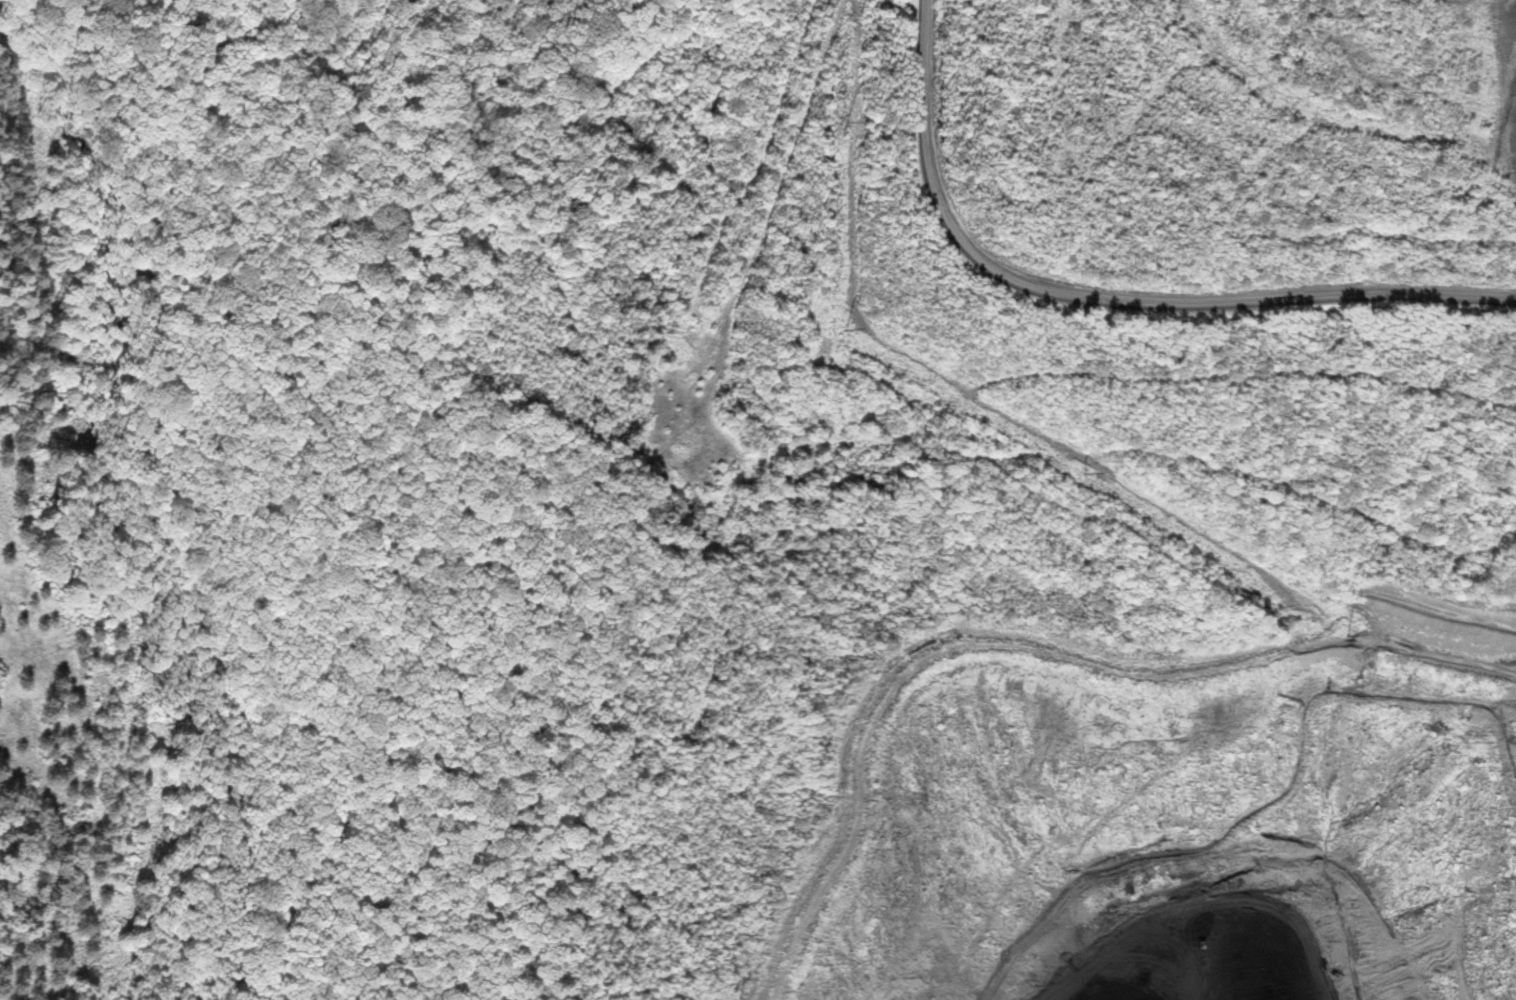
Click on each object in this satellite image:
road: (1103, 333)

